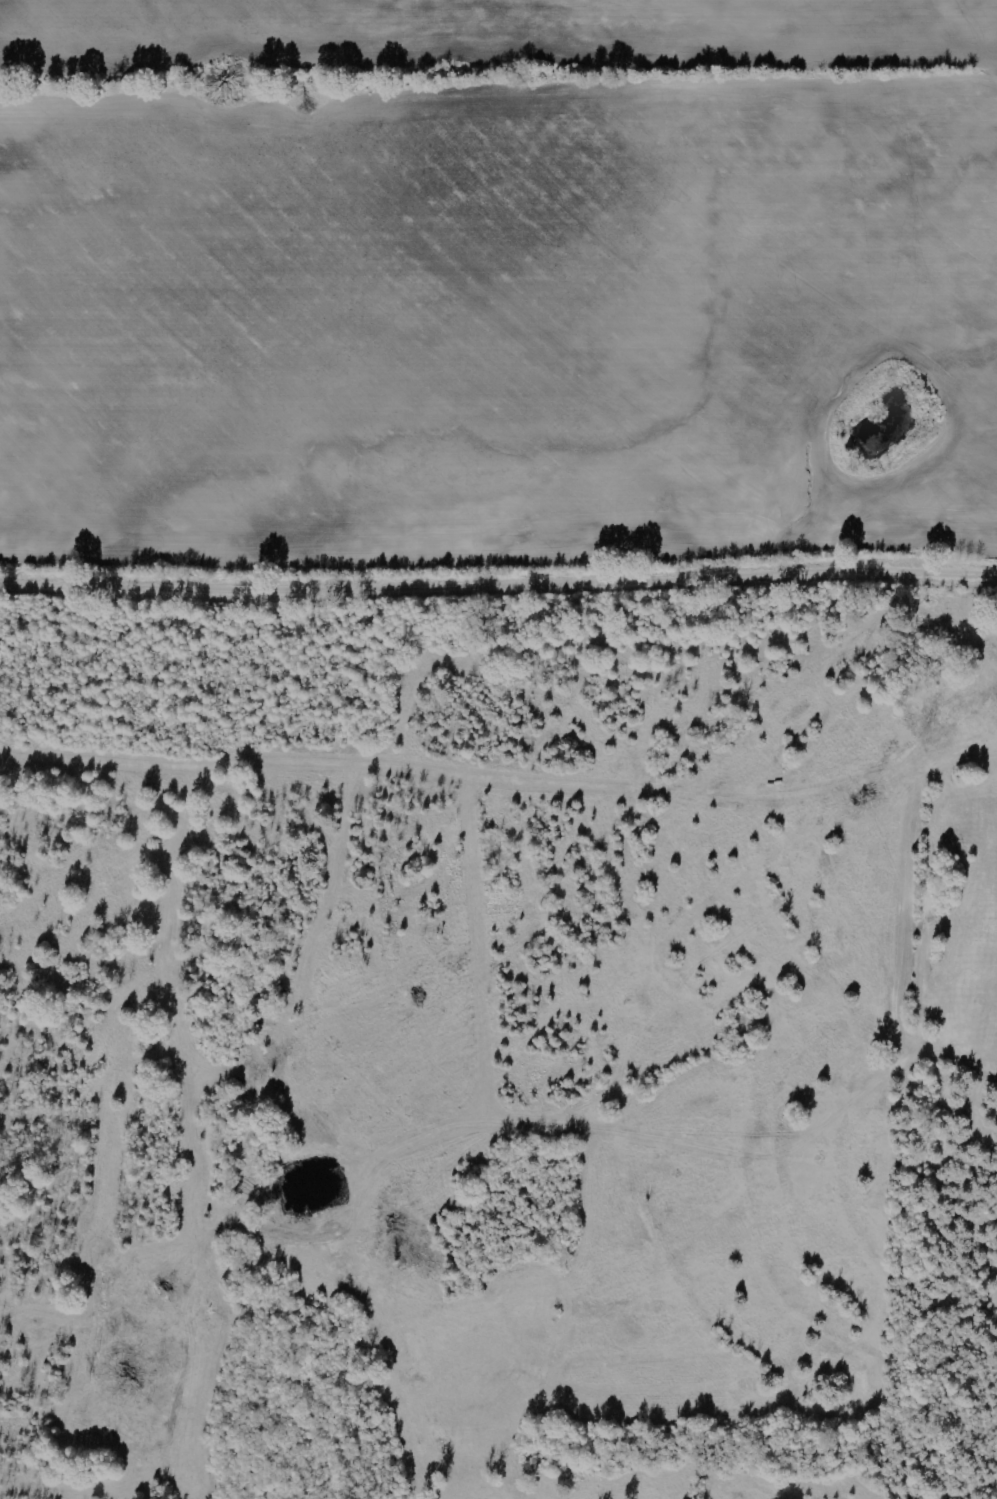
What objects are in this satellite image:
road: (499, 589)

